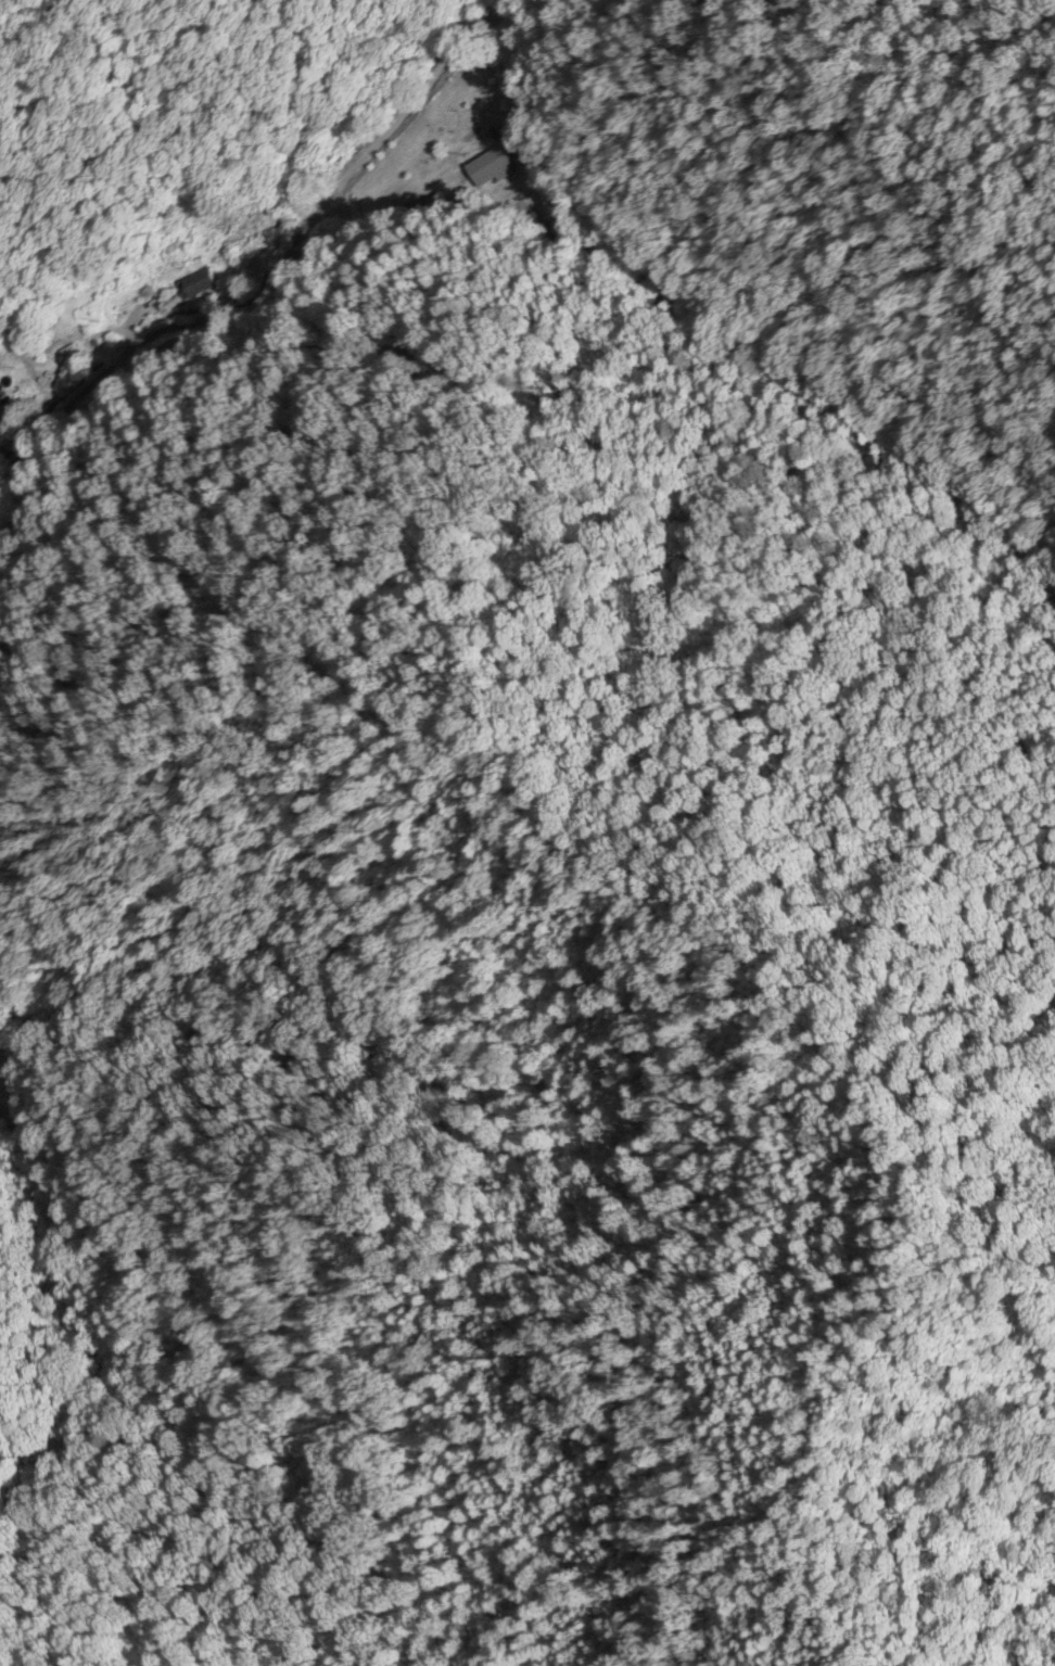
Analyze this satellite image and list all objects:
road: (283, 263)

